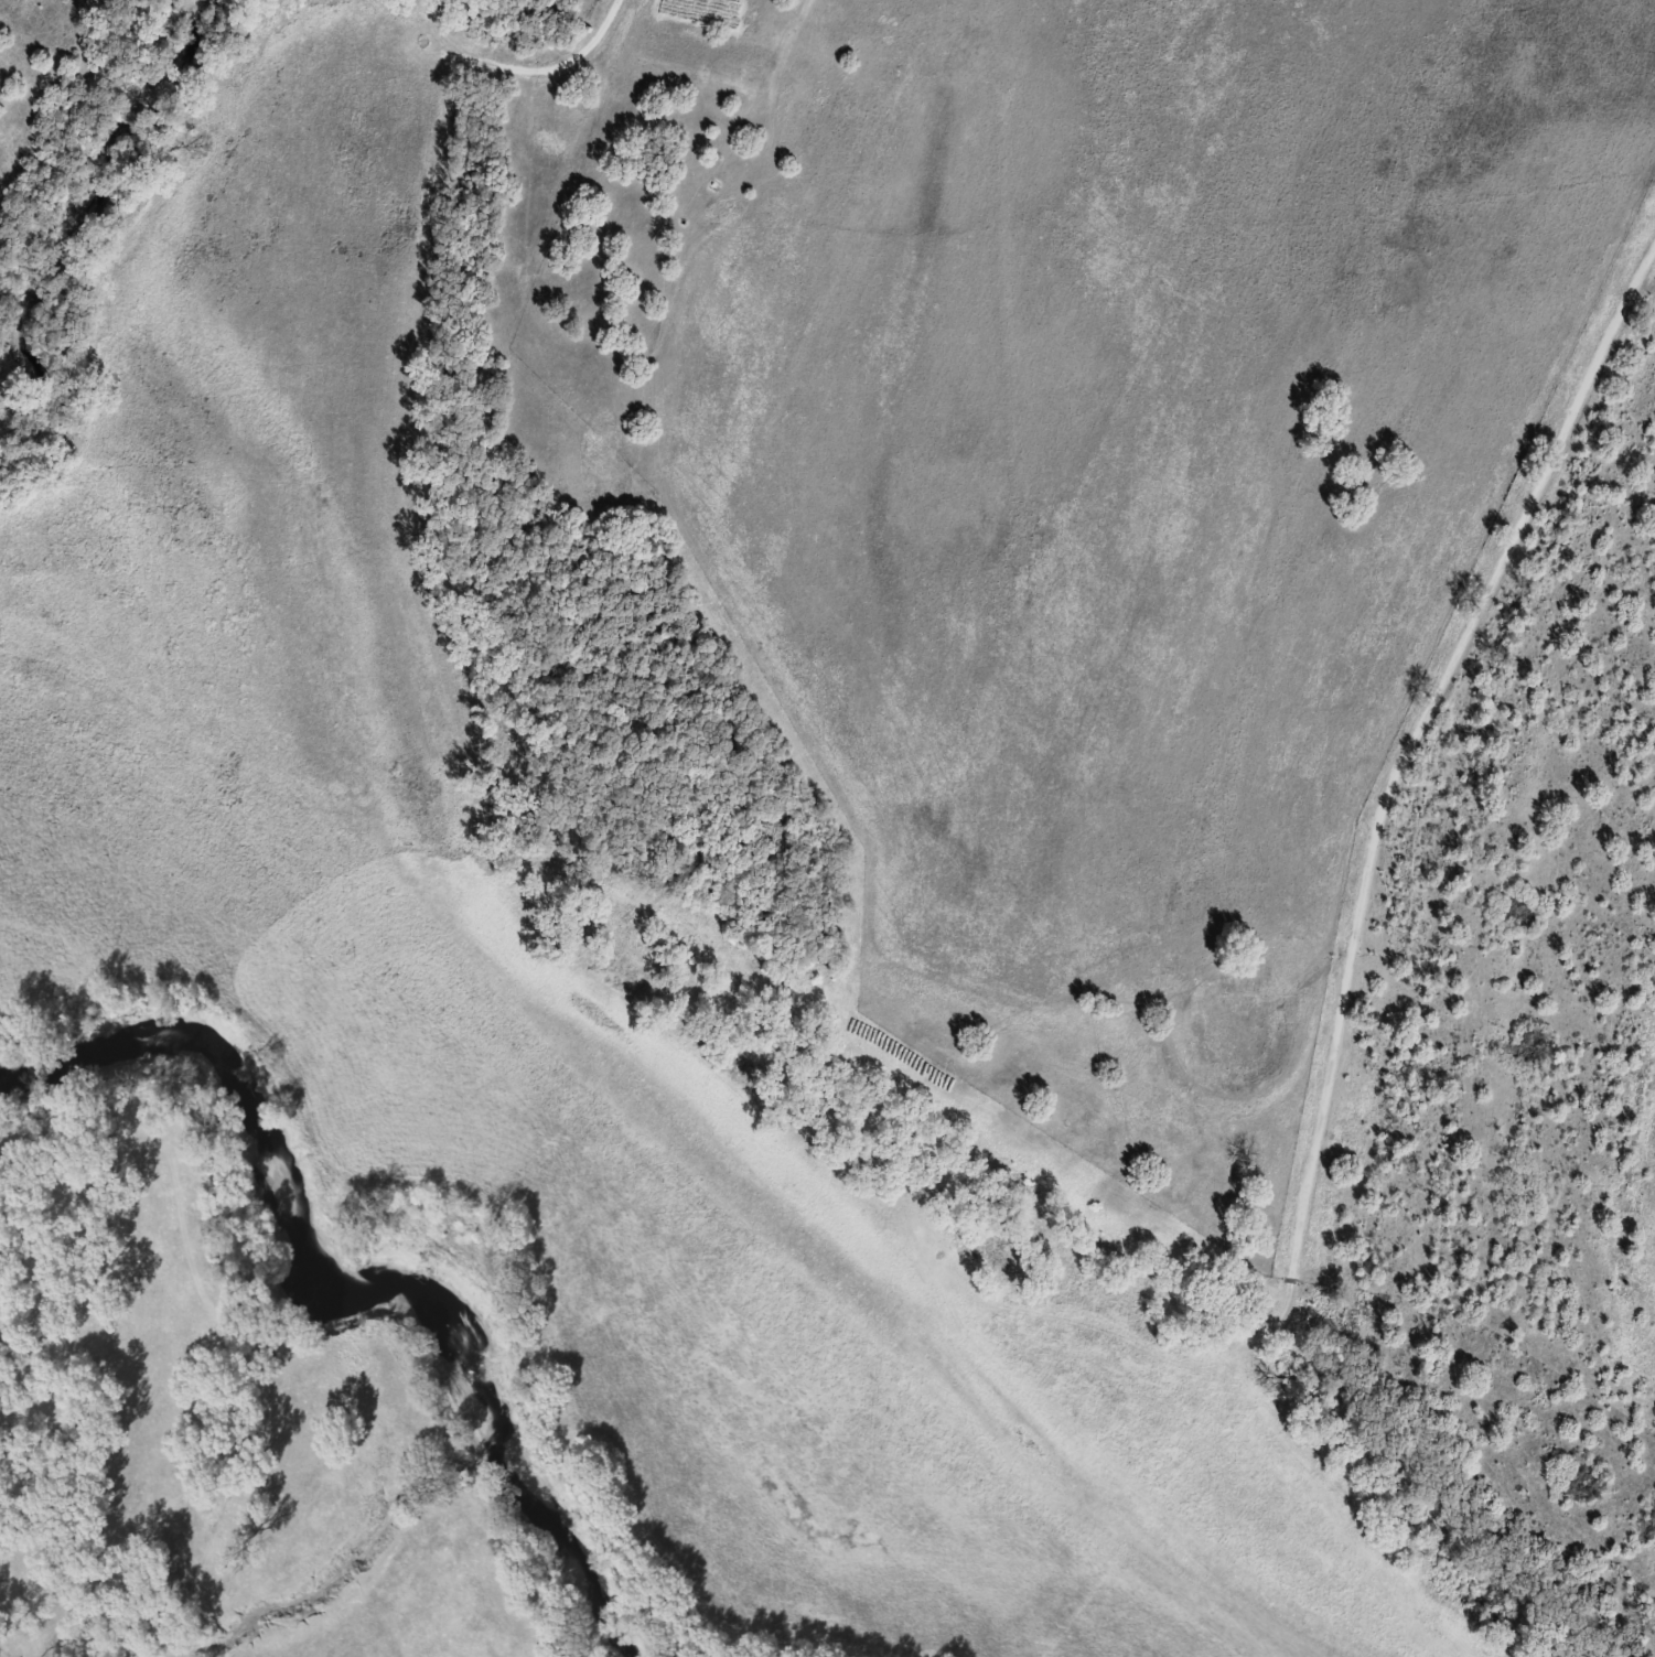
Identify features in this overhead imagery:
road: (1417, 740)

